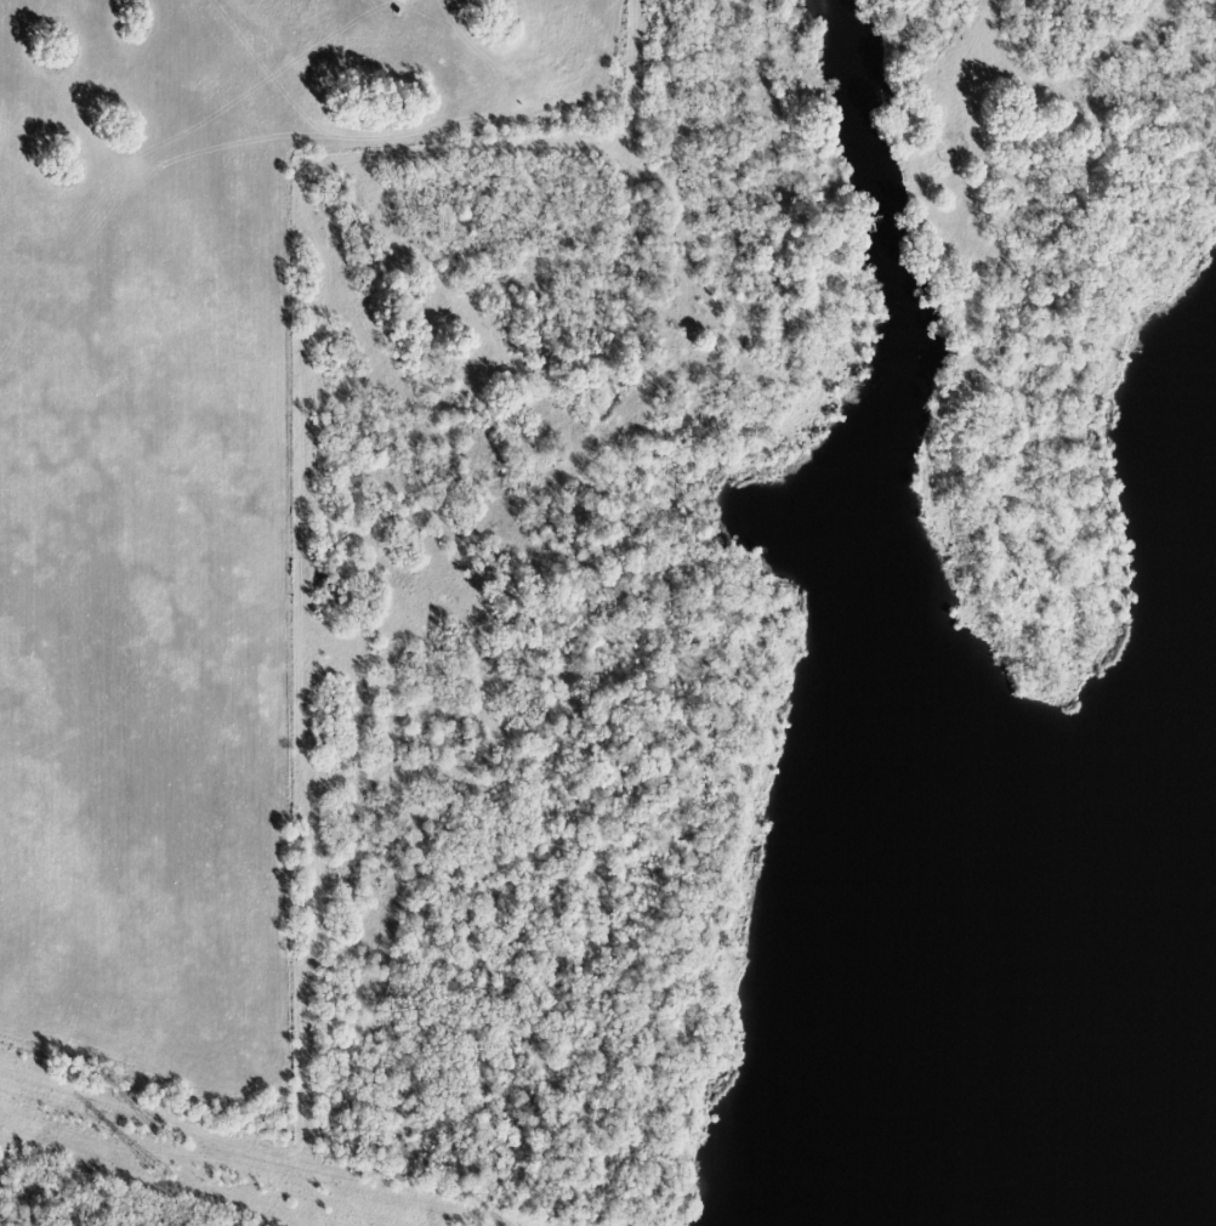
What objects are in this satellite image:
power tower: (175, 1145)
power tower: (180, 1184)

